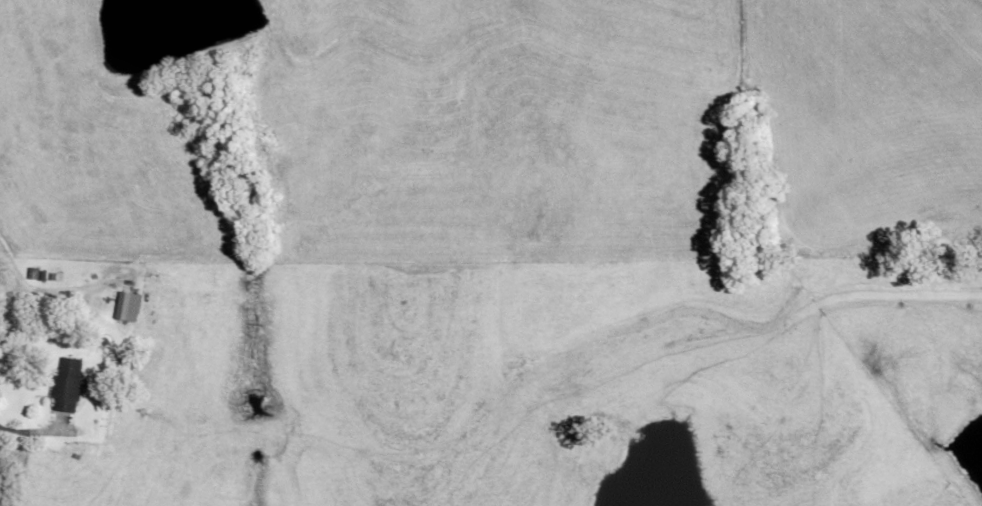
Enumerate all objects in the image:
building: (54, 278)
building: (124, 309)
building: (69, 388)

